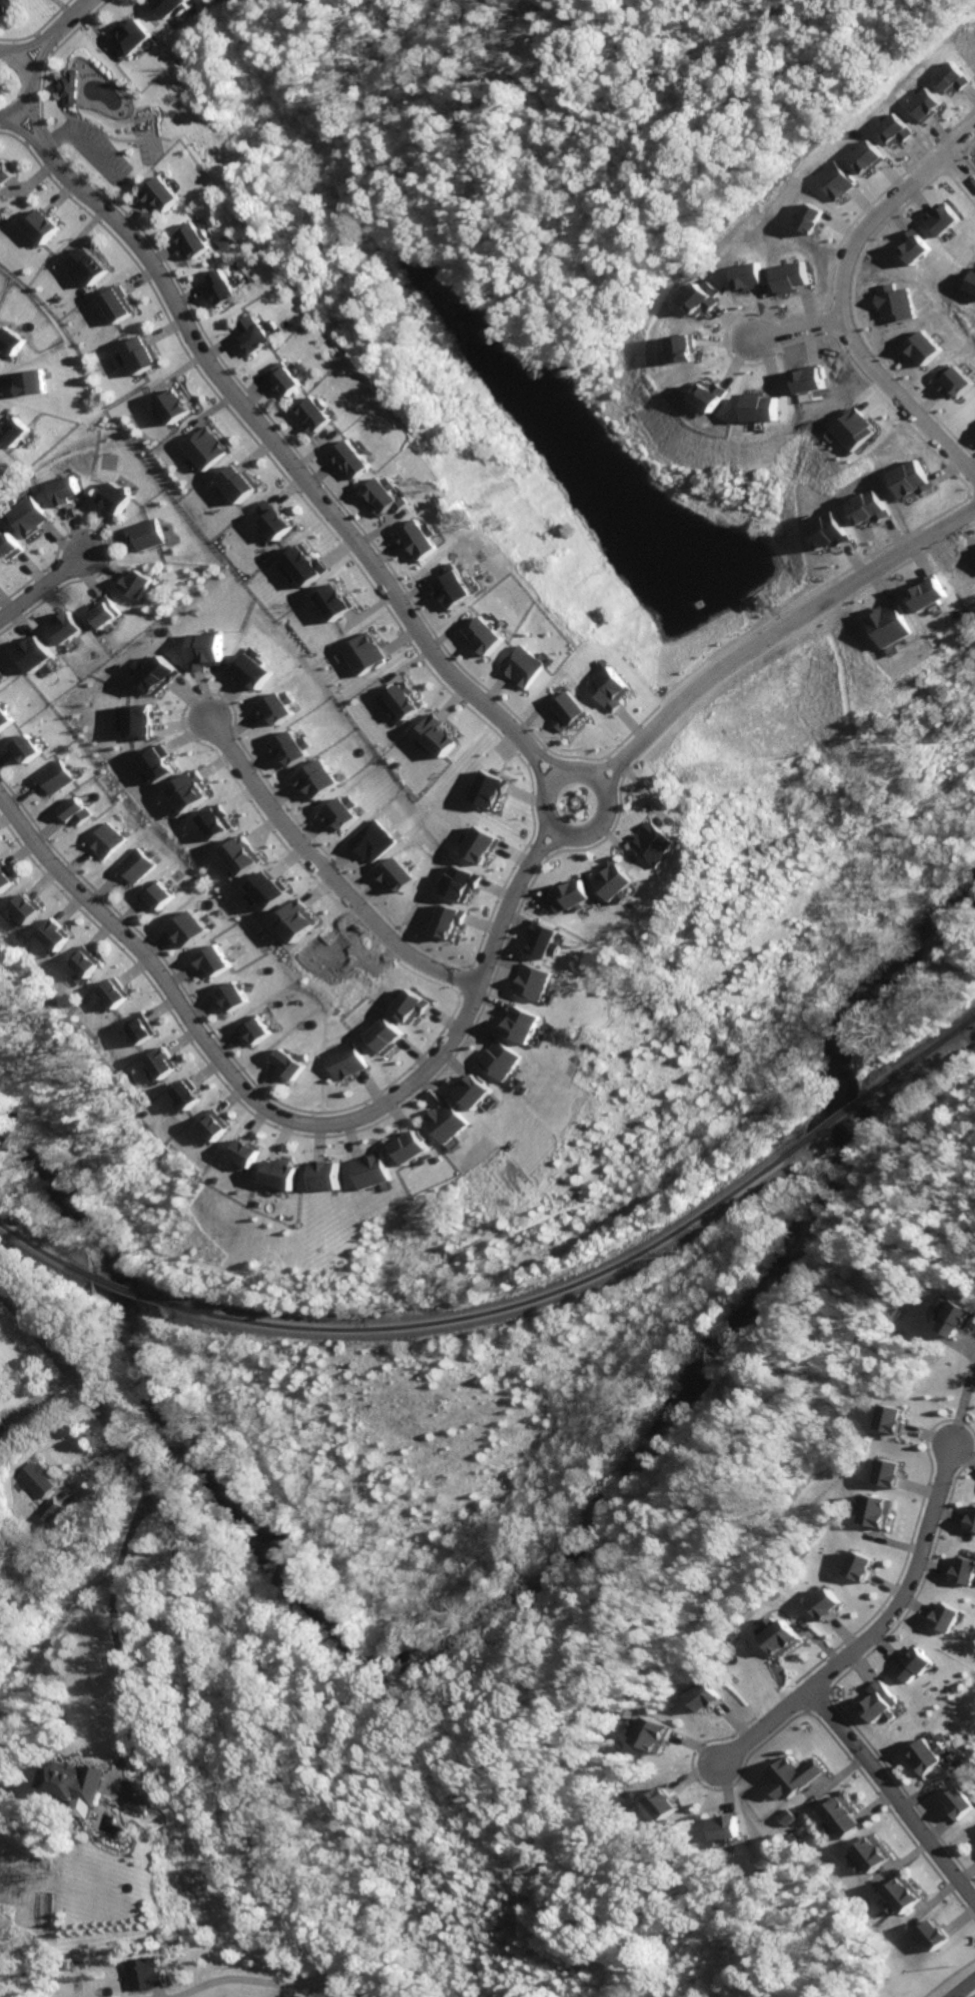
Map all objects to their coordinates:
building: (7, 6)
building: (174, 7)
road: (63, 17)
building: (135, 36)
road: (22, 44)
road: (32, 56)
building: (951, 77)
road: (23, 84)
building: (67, 88)
road: (25, 115)
road: (15, 129)
building: (892, 129)
parking lot: (89, 149)
building: (863, 157)
road: (960, 169)
building: (3, 173)
building: (831, 180)
building: (166, 194)
building: (941, 217)
building: (807, 218)
building: (39, 226)
building: (197, 240)
building: (913, 246)
building: (86, 267)
building: (744, 276)
building: (786, 277)
building: (225, 288)
building: (697, 297)
road: (837, 301)
building: (891, 303)
building: (113, 305)
road: (792, 328)
building: (256, 336)
building: (8, 342)
building: (682, 348)
building: (918, 348)
building: (139, 355)
building: (285, 379)
building: (948, 380)
building: (27, 382)
building: (710, 395)
building: (172, 406)
building: (760, 408)
building: (316, 417)
building: (851, 429)
building: (12, 431)
building: (202, 449)
road: (277, 450)
building: (351, 455)
building: (905, 479)
building: (234, 484)
building: (61, 491)
building: (382, 491)
building: (110, 499)
building: (23, 517)
building: (271, 521)
building: (824, 530)
building: (139, 534)
building: (418, 537)
building: (7, 547)
building: (299, 565)
building: (448, 581)
road: (38, 583)
building: (132, 584)
building: (924, 593)
building: (329, 601)
building: (101, 614)
road: (786, 623)
building: (886, 625)
building: (481, 626)
building: (65, 627)
building: (357, 645)
building: (200, 650)
building: (36, 654)
building: (524, 666)
building: (246, 669)
building: (156, 674)
building: (613, 687)
building: (395, 693)
building: (271, 707)
building: (572, 711)
building: (6, 719)
building: (137, 721)
building: (428, 727)
parking lot: (504, 746)
building: (286, 748)
building: (26, 749)
road: (540, 749)
road: (509, 751)
road: (532, 756)
road: (573, 756)
road: (506, 758)
road: (607, 758)
road: (546, 763)
building: (156, 764)
road: (524, 764)
road: (615, 766)
road: (597, 769)
road: (560, 772)
road: (622, 774)
road: (535, 775)
building: (55, 779)
road: (508, 779)
road: (609, 779)
building: (313, 780)
building: (484, 788)
building: (188, 792)
road: (519, 795)
road: (526, 804)
building: (76, 812)
building: (337, 812)
building: (215, 822)
building: (650, 835)
road: (539, 836)
road: (605, 837)
building: (107, 841)
road: (547, 843)
building: (473, 844)
road: (525, 845)
road: (533, 850)
building: (241, 855)
road: (541, 856)
building: (136, 866)
road: (321, 872)
building: (393, 873)
building: (608, 876)
building: (6, 877)
building: (457, 882)
building: (565, 887)
building: (268, 891)
building: (160, 896)
building: (24, 902)
building: (295, 920)
building: (189, 921)
building: (445, 921)
building: (59, 935)
building: (545, 940)
building: (214, 954)
building: (88, 962)
building: (526, 974)
building: (117, 994)
building: (237, 998)
building: (406, 1006)
building: (514, 1016)
building: (378, 1028)
building: (143, 1030)
building: (258, 1031)
building: (492, 1053)
building: (345, 1062)
railway: (921, 1062)
building: (163, 1064)
building: (292, 1066)
building: (466, 1085)
building: (188, 1095)
road: (270, 1111)
building: (440, 1117)
railway: (841, 1121)
building: (216, 1127)
building: (407, 1139)
building: (243, 1147)
building: (370, 1163)
building: (324, 1166)
building: (277, 1168)
railway: (43, 1251)
railway: (123, 1290)
railway: (507, 1309)
building: (959, 1317)
road: (968, 1341)
road: (964, 1408)
building: (892, 1411)
building: (3, 1426)
building: (892, 1468)
building: (38, 1478)
building: (53, 1510)
building: (880, 1513)
building: (973, 1517)
building: (862, 1558)
building: (966, 1563)
building: (826, 1596)
building: (950, 1610)
road: (120, 1632)
road: (193, 1635)
road: (875, 1635)
building: (788, 1639)
building: (918, 1665)
building: (705, 1688)
building: (881, 1703)
building: (656, 1735)
building: (930, 1758)
building: (793, 1779)
building: (75, 1782)
road: (892, 1794)
building: (146, 1795)
building: (963, 1796)
building: (659, 1797)
building: (785, 1817)
building: (723, 1819)
building: (842, 1819)
building: (870, 1858)
building: (903, 1898)
building: (930, 1928)
building: (150, 1973)
road: (257, 1980)
road: (964, 1987)

